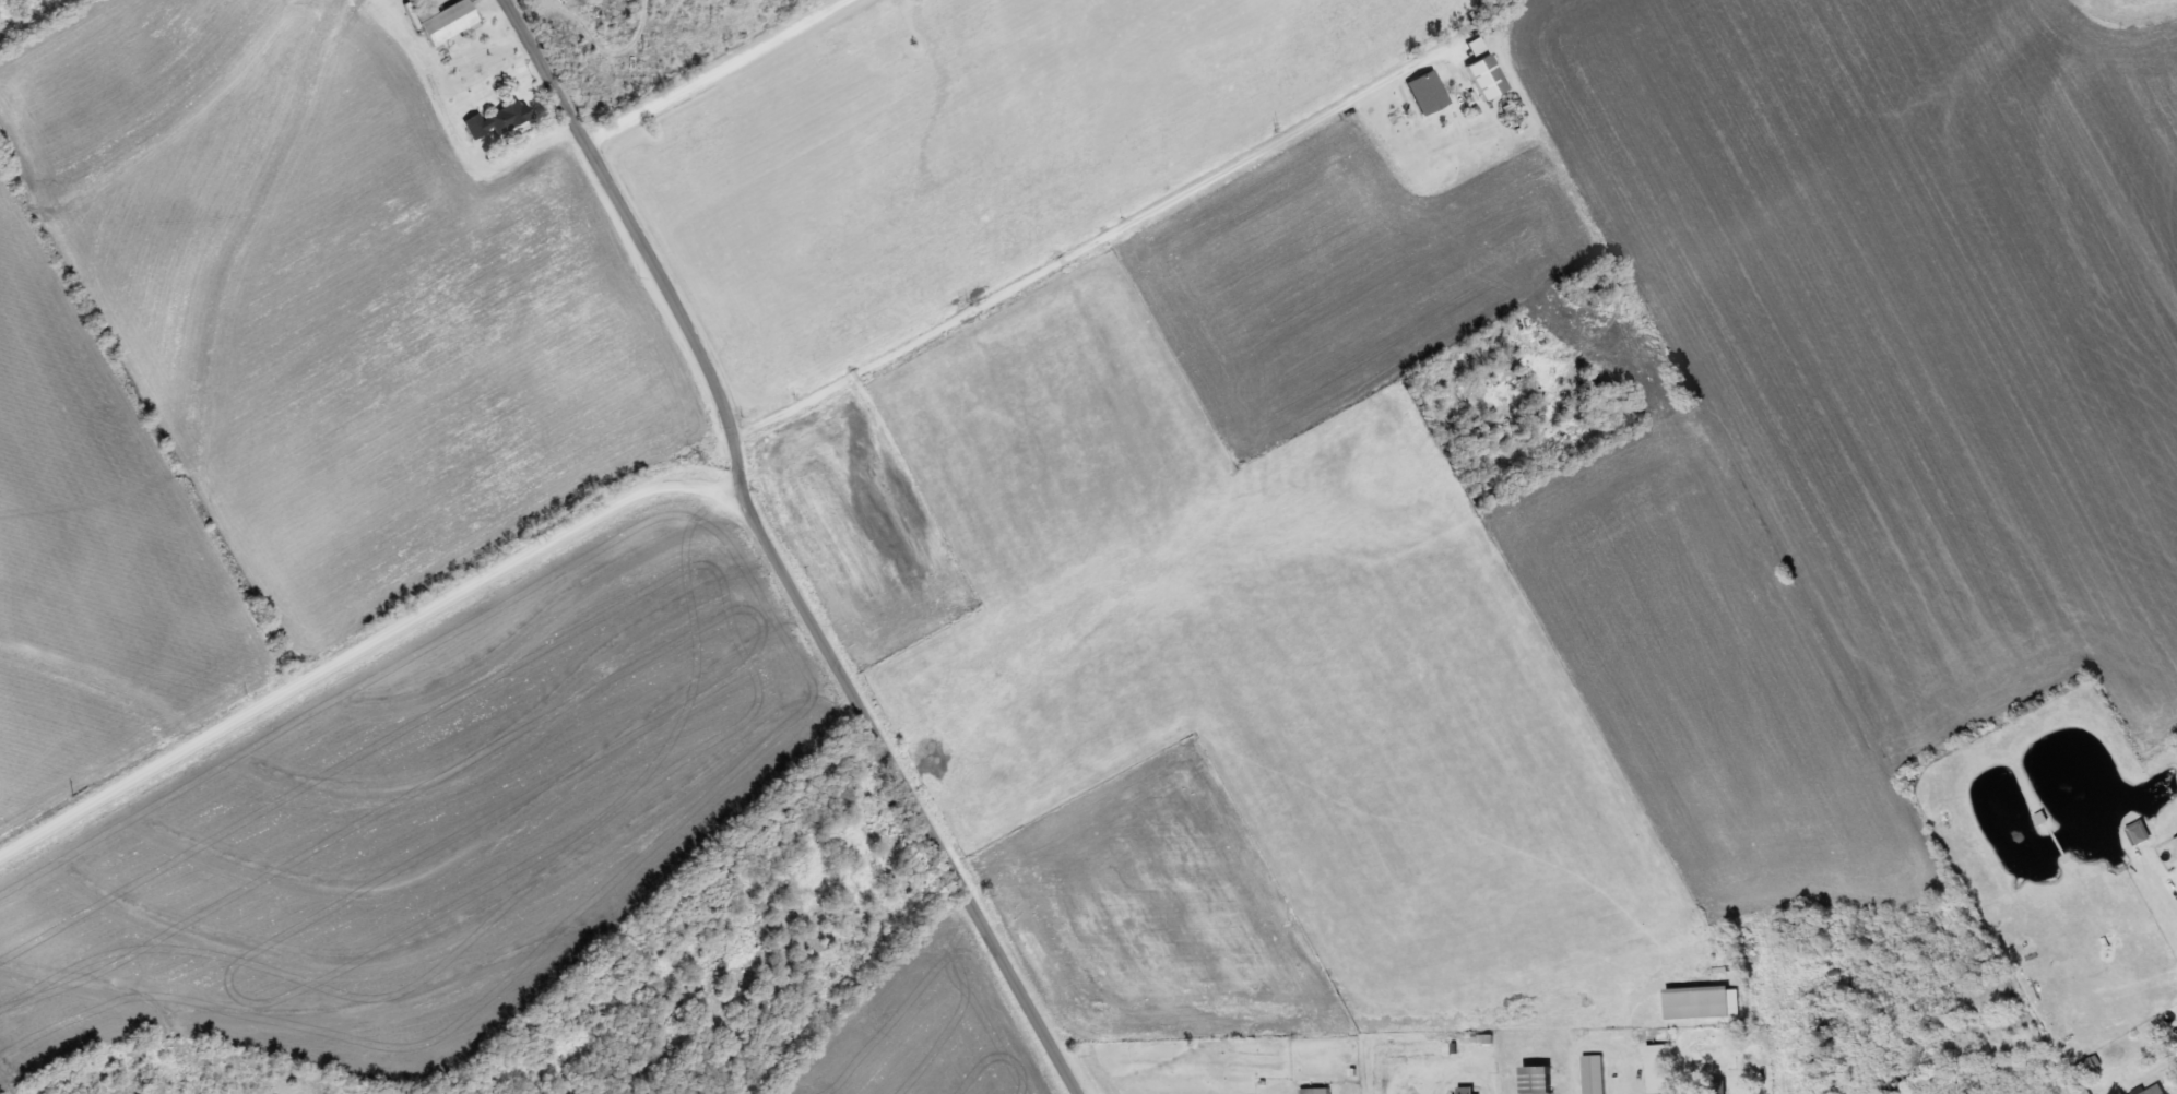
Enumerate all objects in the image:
building: (447, 20)
building: (1477, 46)
building: (1487, 78)
building: (1429, 93)
building: (501, 119)
building: (1601, 286)
road: (773, 555)
road: (364, 651)
building: (2137, 832)
building: (1450, 1048)
building: (2087, 1067)
building: (1594, 1074)
building: (1659, 1077)
building: (1539, 1080)
building: (1714, 1086)
building: (1464, 1090)
building: (2155, 1090)
building: (1315, 1091)

